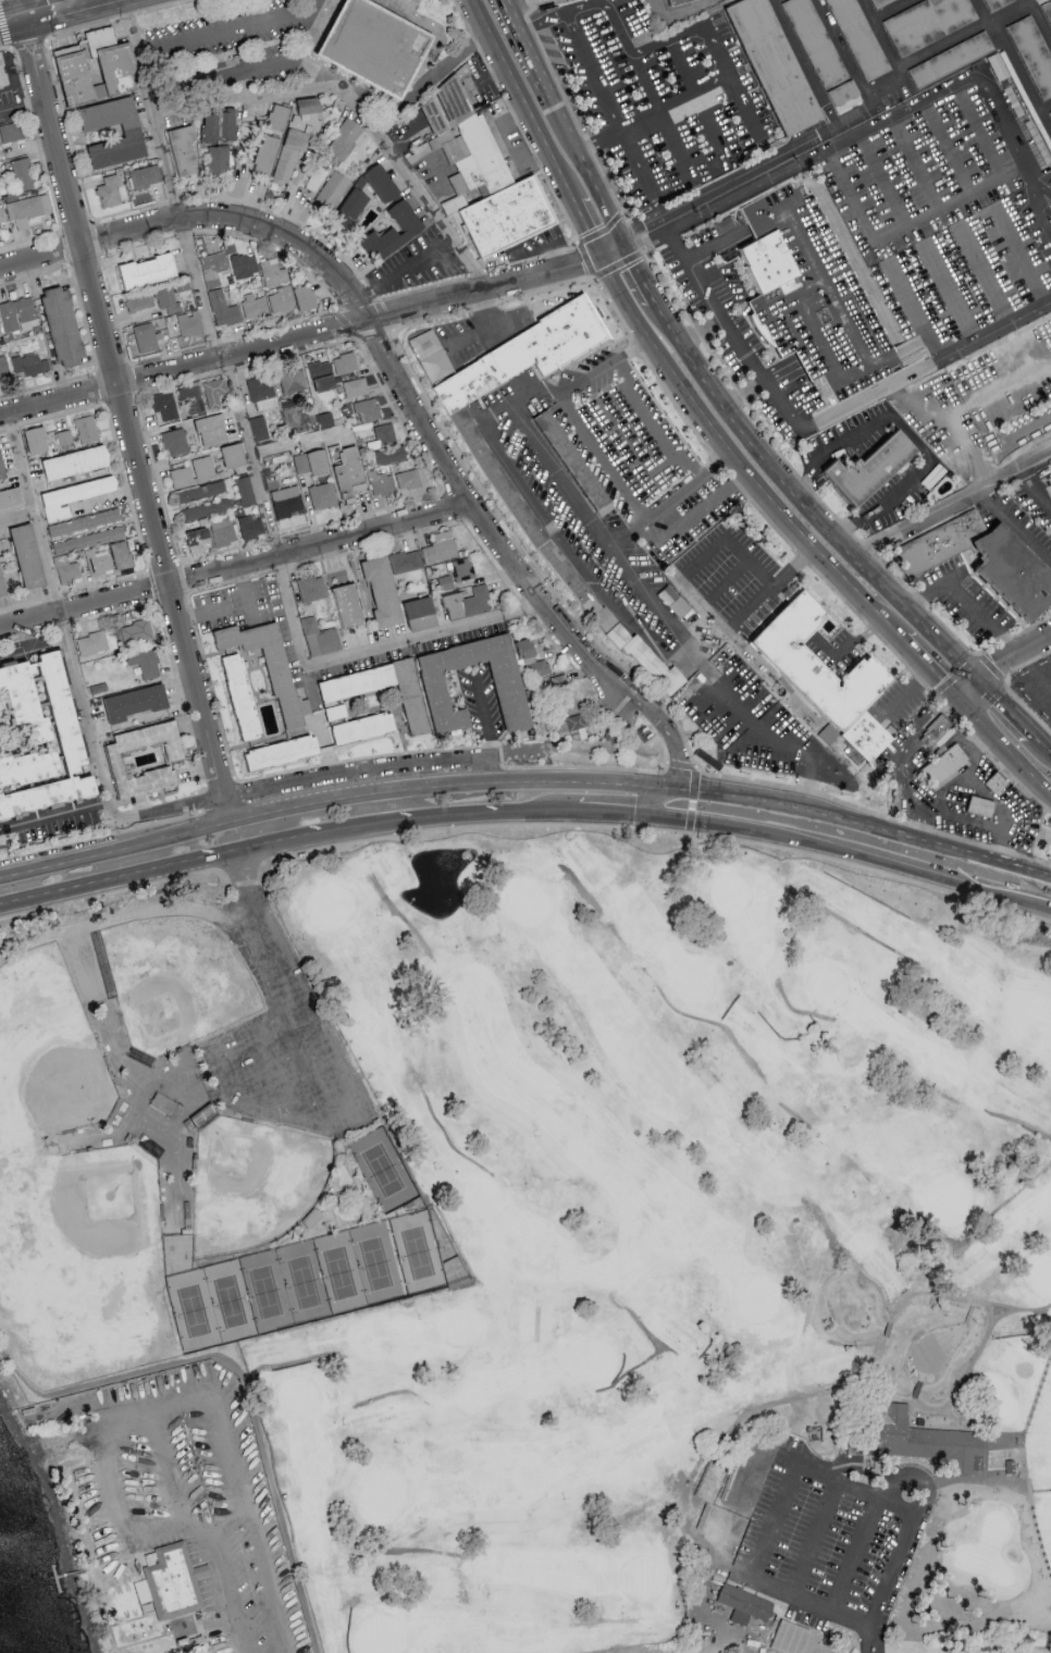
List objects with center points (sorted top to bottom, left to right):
road: (490, 0)
building: (683, 3)
building: (883, 4)
road: (77, 5)
building: (998, 5)
road: (159, 7)
road: (512, 8)
road: (23, 10)
building: (1047, 14)
road: (38, 15)
road: (126, 15)
road: (12, 22)
road: (81, 26)
building: (929, 26)
road: (227, 32)
road: (28, 40)
building: (858, 40)
road: (10, 46)
building: (370, 53)
building: (819, 53)
building: (1034, 57)
building: (951, 63)
road: (17, 65)
road: (496, 65)
building: (110, 66)
road: (207, 69)
road: (593, 69)
building: (774, 69)
road: (240, 72)
building: (3, 73)
road: (21, 76)
building: (71, 83)
road: (431, 84)
road: (350, 97)
parking lot: (12, 99)
road: (535, 100)
road: (697, 100)
road: (569, 104)
road: (671, 106)
building: (446, 110)
road: (22, 111)
road: (743, 111)
building: (276, 116)
road: (902, 116)
building: (1050, 118)
road: (517, 121)
road: (664, 122)
building: (219, 125)
road: (67, 129)
road: (943, 131)
building: (10, 132)
building: (131, 134)
road: (404, 136)
road: (504, 137)
building: (294, 138)
building: (344, 139)
building: (182, 149)
building: (264, 155)
building: (218, 158)
building: (473, 160)
building: (22, 173)
road: (751, 173)
road: (46, 174)
building: (145, 175)
building: (380, 183)
road: (926, 187)
building: (109, 192)
building: (330, 193)
road: (174, 198)
road: (879, 199)
building: (349, 208)
building: (26, 209)
road: (128, 209)
building: (1, 212)
road: (295, 219)
building: (1050, 220)
building: (505, 221)
road: (595, 221)
road: (74, 225)
building: (392, 231)
road: (631, 231)
road: (183, 233)
road: (183, 236)
road: (96, 237)
road: (28, 238)
road: (713, 242)
road: (644, 244)
traffic signals: (607, 245)
road: (426, 254)
road: (1019, 256)
road: (584, 259)
road: (67, 263)
building: (243, 264)
building: (213, 268)
road: (635, 268)
building: (146, 271)
road: (103, 272)
building: (272, 272)
road: (475, 273)
road: (986, 273)
road: (34, 274)
road: (323, 288)
road: (950, 292)
building: (811, 293)
building: (305, 297)
building: (165, 298)
building: (281, 298)
building: (138, 300)
building: (254, 306)
building: (222, 308)
road: (914, 308)
road: (336, 310)
road: (840, 312)
building: (17, 313)
road: (511, 319)
road: (809, 319)
road: (83, 320)
building: (189, 322)
building: (62, 325)
road: (700, 329)
road: (305, 335)
building: (145, 336)
road: (211, 342)
road: (381, 348)
road: (166, 353)
road: (295, 353)
building: (344, 362)
building: (28, 365)
road: (111, 367)
building: (3, 369)
road: (228, 371)
road: (593, 371)
building: (320, 375)
road: (133, 379)
building: (292, 380)
road: (46, 383)
road: (180, 383)
road: (659, 383)
building: (354, 386)
road: (99, 387)
road: (741, 388)
building: (213, 392)
building: (261, 392)
road: (138, 397)
building: (190, 398)
road: (120, 399)
road: (967, 402)
building: (163, 404)
building: (366, 408)
road: (58, 415)
road: (396, 416)
building: (290, 419)
building: (324, 419)
road: (1034, 420)
road: (818, 423)
road: (12, 427)
building: (258, 428)
road: (2, 429)
building: (86, 429)
building: (210, 430)
building: (384, 434)
road: (658, 435)
road: (907, 435)
building: (63, 436)
road: (132, 440)
building: (35, 441)
building: (174, 442)
building: (469, 444)
road: (285, 445)
road: (730, 453)
road: (1031, 454)
building: (232, 455)
building: (390, 455)
building: (310, 461)
road: (787, 461)
building: (74, 462)
building: (571, 467)
building: (869, 468)
building: (1, 469)
building: (347, 471)
building: (193, 472)
road: (469, 472)
road: (158, 479)
building: (407, 479)
road: (124, 483)
building: (380, 483)
road: (621, 484)
road: (1031, 484)
building: (244, 490)
building: (200, 491)
building: (322, 495)
building: (72, 496)
building: (10, 497)
road: (109, 497)
road: (802, 501)
building: (285, 502)
road: (454, 506)
building: (205, 509)
road: (703, 509)
road: (932, 509)
road: (35, 513)
road: (361, 514)
road: (17, 517)
building: (83, 521)
building: (250, 526)
road: (1013, 526)
building: (223, 531)
road: (552, 533)
road: (272, 538)
building: (87, 540)
building: (198, 540)
road: (731, 540)
road: (375, 544)
building: (438, 547)
road: (221, 551)
building: (121, 554)
building: (26, 555)
road: (490, 559)
building: (404, 560)
building: (96, 562)
road: (162, 565)
road: (235, 566)
building: (461, 568)
building: (981, 568)
building: (65, 569)
road: (280, 569)
road: (955, 570)
road: (183, 577)
road: (729, 579)
road: (106, 581)
road: (233, 582)
building: (444, 582)
road: (772, 584)
road: (151, 587)
building: (1, 588)
building: (310, 588)
building: (381, 591)
road: (54, 594)
road: (248, 594)
road: (963, 594)
road: (188, 595)
road: (172, 599)
road: (23, 602)
building: (466, 603)
building: (346, 605)
road: (523, 606)
road: (201, 612)
road: (113, 614)
building: (419, 614)
road: (62, 626)
road: (296, 628)
building: (135, 631)
road: (27, 636)
road: (1010, 636)
building: (318, 637)
building: (95, 641)
road: (555, 644)
road: (845, 646)
building: (523, 647)
road: (24, 649)
road: (891, 650)
road: (998, 661)
building: (145, 662)
road: (1030, 662)
road: (703, 663)
road: (993, 665)
building: (537, 667)
road: (926, 668)
building: (269, 669)
road: (957, 673)
traffic signals: (976, 679)
road: (211, 688)
building: (560, 688)
building: (507, 689)
road: (178, 693)
building: (338, 693)
road: (1038, 694)
road: (906, 695)
building: (239, 696)
road: (981, 699)
building: (134, 702)
road: (1023, 703)
road: (1003, 706)
building: (334, 712)
road: (87, 714)
road: (484, 716)
building: (569, 721)
building: (361, 728)
building: (935, 729)
building: (864, 738)
building: (38, 739)
road: (673, 740)
road: (1041, 745)
road: (1003, 748)
building: (280, 752)
road: (364, 756)
building: (113, 760)
road: (897, 760)
building: (941, 765)
road: (574, 766)
road: (354, 769)
road: (489, 769)
road: (218, 780)
road: (525, 780)
building: (993, 785)
road: (692, 786)
traffic signals: (679, 788)
road: (201, 789)
road: (987, 794)
road: (197, 801)
road: (652, 802)
building: (978, 807)
road: (166, 811)
road: (472, 811)
road: (548, 811)
road: (873, 812)
road: (54, 813)
road: (599, 813)
traffic signals: (625, 814)
road: (171, 818)
road: (362, 823)
road: (659, 831)
road: (72, 841)
road: (246, 846)
road: (831, 848)
road: (243, 868)
road: (240, 875)
road: (95, 881)
park: (730, 892)
road: (110, 893)
park: (525, 901)
park: (331, 905)
road: (1041, 909)
road: (122, 912)
street lamp: (499, 943)
park: (692, 982)
park: (174, 983)
park: (828, 986)
park: (47, 1049)
parking lot: (283, 1049)
road: (275, 1072)
building: (165, 1105)
road: (333, 1122)
park: (380, 1171)
park: (252, 1185)
park: (483, 1196)
park: (945, 1198)
park: (568, 1232)
park: (672, 1245)
park: (83, 1260)
park: (1037, 1275)
park: (304, 1280)
park: (755, 1297)
park: (460, 1328)
park: (589, 1359)
road: (242, 1381)
park: (298, 1398)
road: (176, 1403)
building: (924, 1440)
road: (772, 1458)
road: (913, 1479)
park: (381, 1495)
road: (772, 1524)
parking lot: (820, 1539)
road: (811, 1540)
road: (140, 1551)
road: (853, 1557)
road: (74, 1570)
pier: (60, 1575)
pier: (55, 1577)
park: (641, 1577)
building: (170, 1580)
building: (743, 1603)
park: (379, 1635)
building: (789, 1637)

